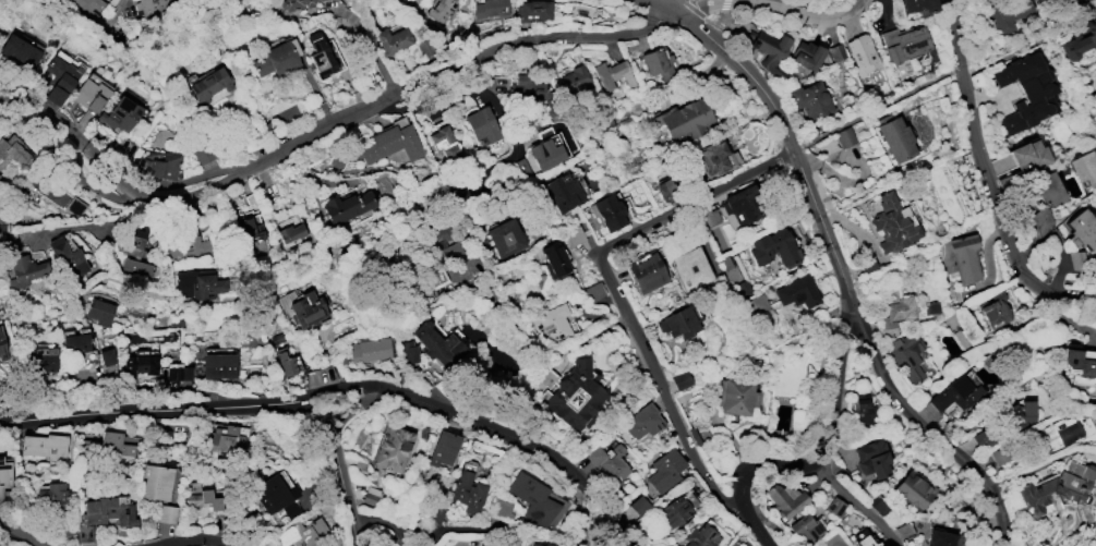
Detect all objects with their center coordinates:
building: (296, 3)
road: (666, 3)
building: (919, 5)
building: (86, 7)
building: (150, 7)
road: (1069, 7)
building: (490, 8)
building: (439, 10)
building: (532, 10)
building: (1008, 13)
building: (393, 39)
building: (1080, 39)
road: (369, 43)
building: (904, 43)
building: (424, 47)
building: (17, 49)
building: (769, 50)
building: (835, 51)
building: (862, 53)
building: (320, 54)
building: (806, 54)
building: (278, 58)
building: (658, 62)
building: (62, 72)
building: (613, 73)
road: (941, 73)
building: (574, 78)
building: (208, 84)
road: (415, 86)
building: (526, 90)
building: (1026, 90)
building: (55, 95)
building: (91, 95)
building: (810, 99)
building: (120, 114)
building: (684, 118)
building: (482, 124)
building: (844, 136)
road: (786, 137)
building: (895, 138)
building: (392, 143)
building: (444, 143)
building: (13, 151)
building: (545, 153)
building: (1029, 153)
building: (204, 154)
building: (715, 158)
building: (164, 167)
building: (1084, 167)
road: (988, 179)
building: (1046, 187)
building: (665, 190)
building: (562, 192)
building: (740, 204)
building: (347, 206)
building: (606, 211)
building: (708, 216)
road: (118, 222)
building: (892, 223)
building: (246, 229)
building: (1082, 229)
building: (290, 232)
building: (574, 235)
building: (504, 236)
building: (186, 247)
building: (774, 247)
building: (135, 257)
building: (454, 257)
building: (554, 257)
building: (965, 257)
building: (67, 258)
building: (690, 268)
building: (25, 269)
building: (645, 270)
road: (603, 280)
building: (197, 283)
building: (795, 291)
road: (251, 299)
building: (306, 308)
building: (893, 310)
building: (99, 311)
building: (995, 311)
building: (679, 320)
building: (552, 323)
road: (534, 341)
building: (1, 344)
building: (437, 344)
building: (74, 345)
building: (369, 350)
building: (407, 351)
building: (905, 354)
building: (106, 356)
building: (44, 360)
building: (285, 361)
building: (140, 363)
building: (1080, 364)
building: (218, 365)
building: (177, 372)
building: (681, 380)
building: (954, 393)
road: (344, 396)
building: (577, 396)
building: (735, 396)
building: (863, 408)
building: (1017, 413)
building: (642, 421)
building: (1065, 434)
building: (225, 437)
road: (930, 438)
building: (981, 438)
road: (623, 439)
building: (108, 445)
building: (45, 446)
building: (393, 448)
building: (443, 448)
road: (828, 450)
building: (999, 454)
building: (872, 458)
road: (338, 460)
building: (605, 460)
building: (665, 470)
building: (4, 475)
building: (156, 481)
building: (1057, 487)
building: (914, 488)
building: (468, 492)
building: (51, 496)
building: (276, 496)
building: (532, 498)
building: (785, 500)
building: (202, 502)
building: (639, 505)
building: (834, 506)
road: (851, 506)
building: (499, 508)
building: (674, 510)
building: (167, 513)
building: (104, 514)
road: (746, 520)
road: (587, 526)
building: (805, 527)
road: (413, 531)
building: (302, 532)
road: (17, 535)
building: (701, 536)
building: (939, 537)
road: (196, 539)
building: (866, 541)
building: (541, 544)

